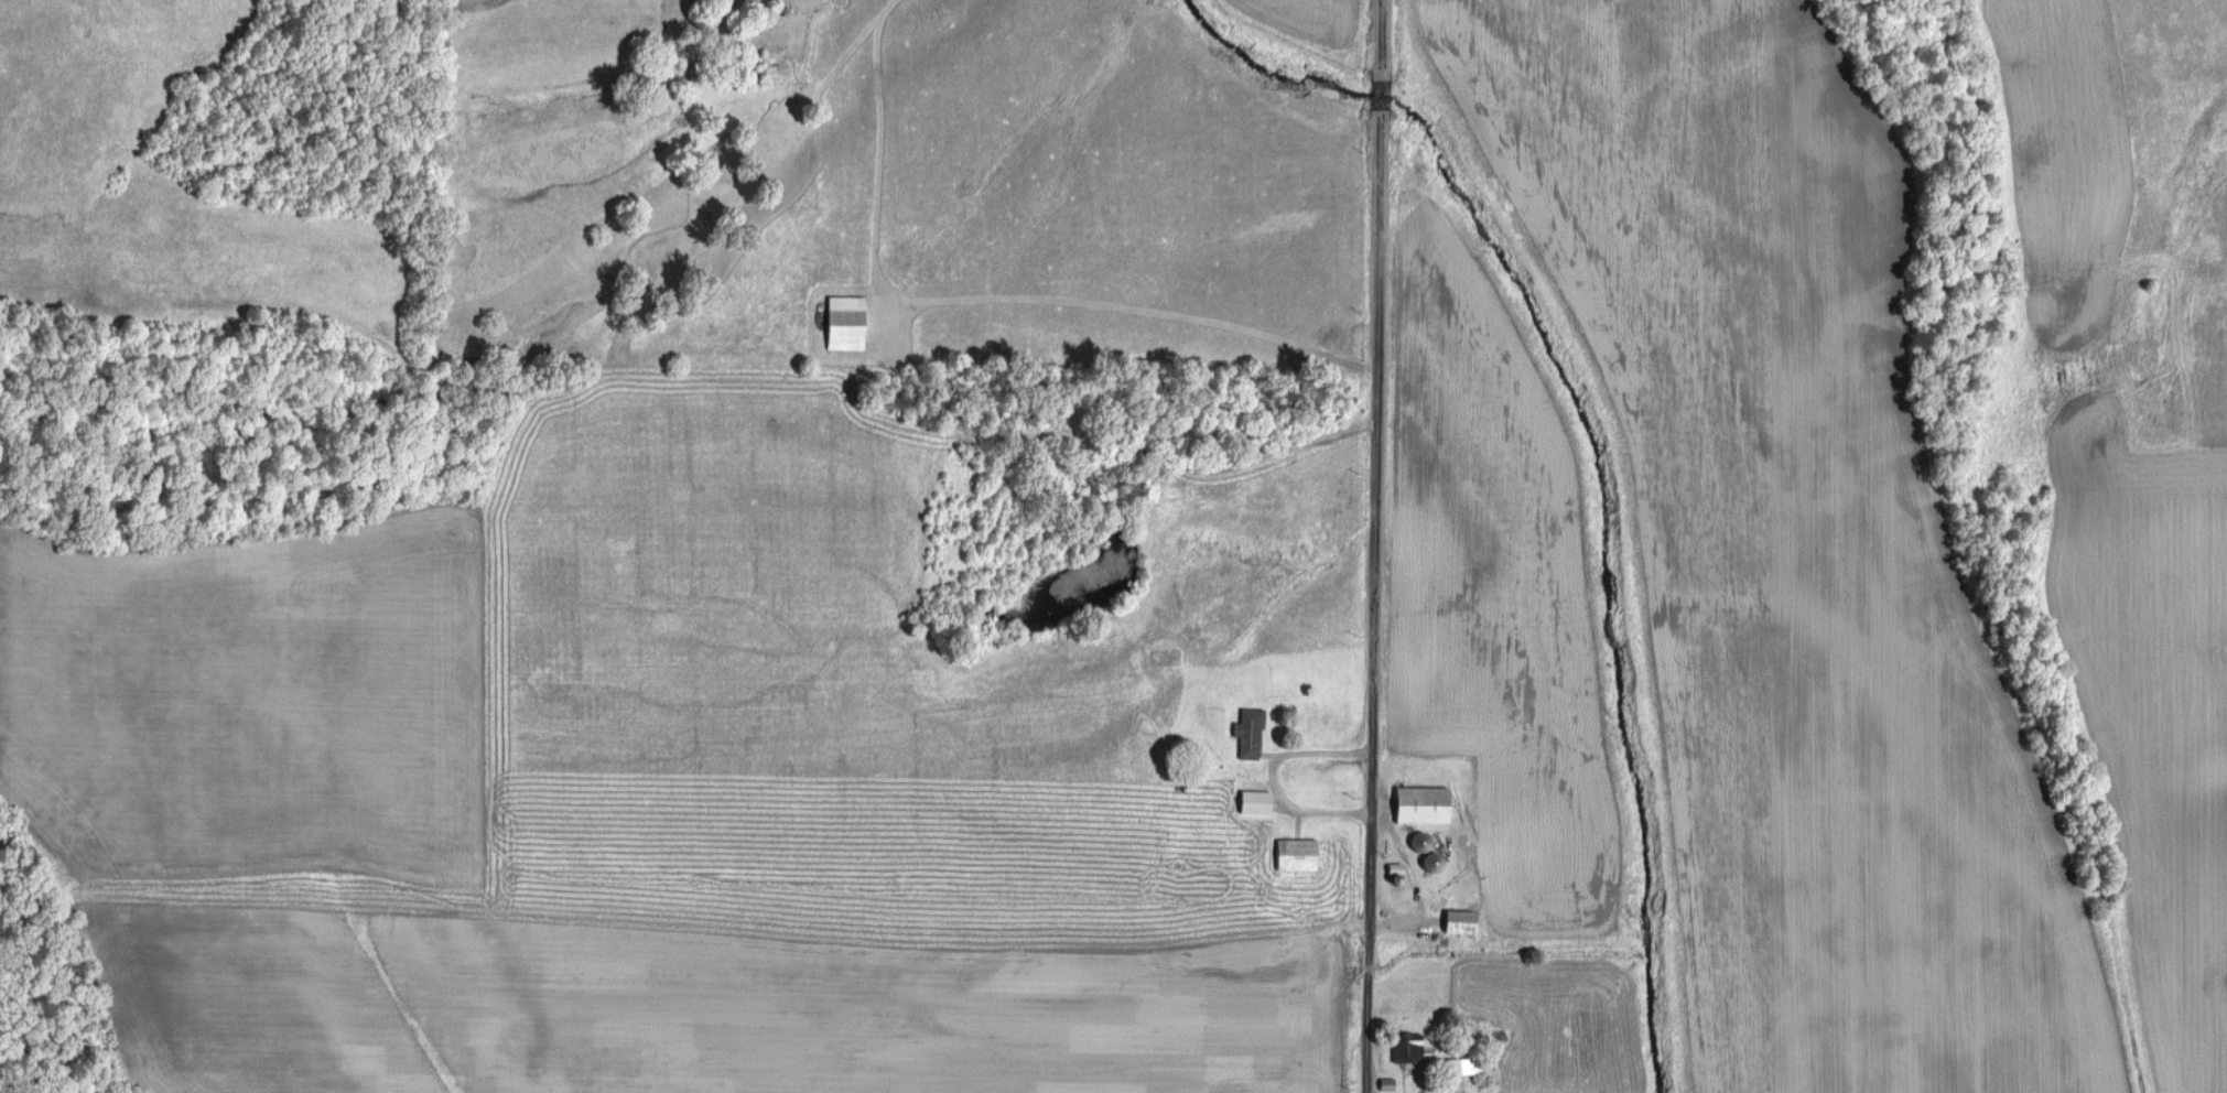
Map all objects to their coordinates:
building: (842, 321)
road: (1375, 546)
building: (1246, 732)
building: (1252, 801)
building: (1419, 803)
building: (1293, 853)
building: (1456, 920)
building: (1410, 1046)
building: (1459, 1065)

